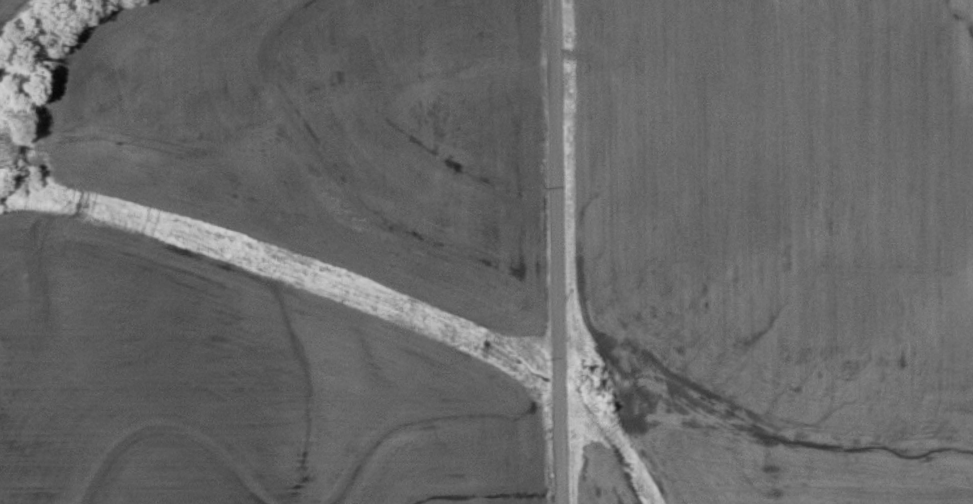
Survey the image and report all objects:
road: (559, 251)

